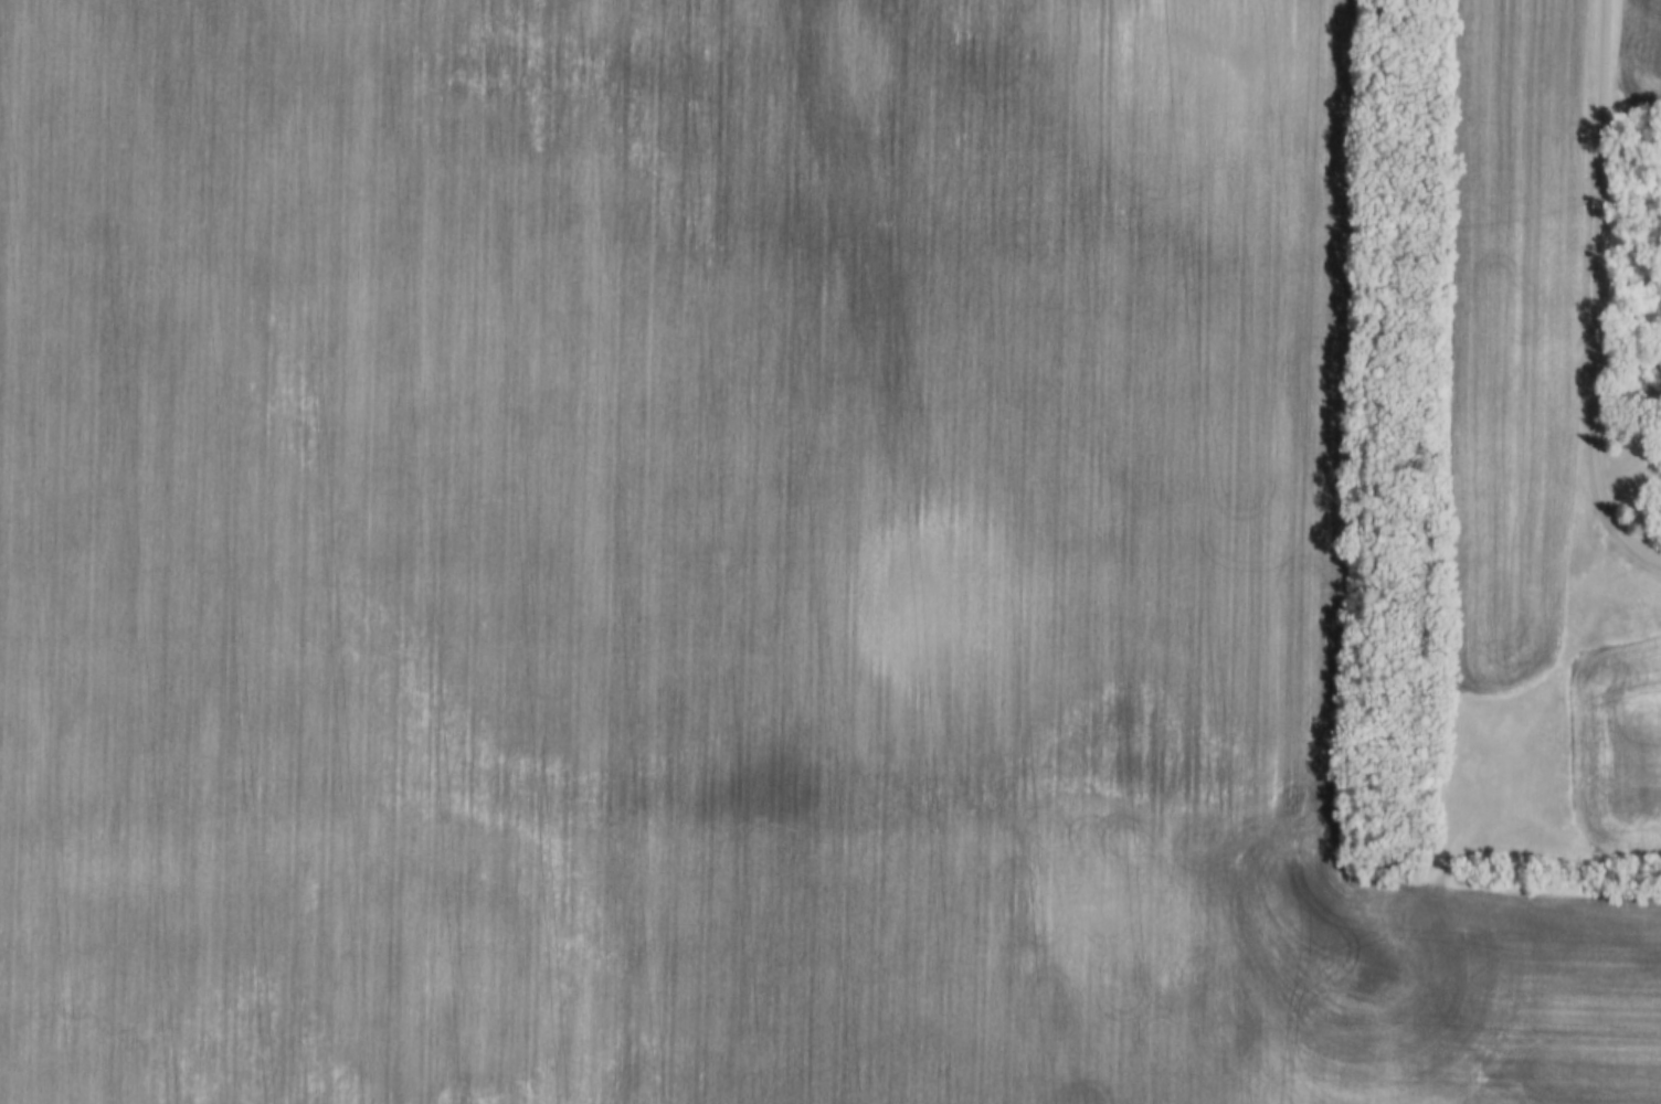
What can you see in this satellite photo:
road: (1599, 296)

